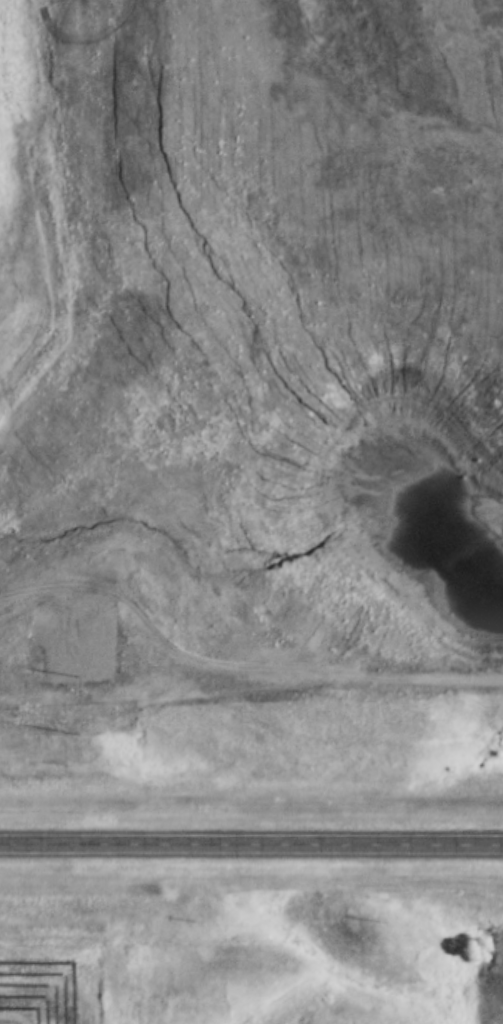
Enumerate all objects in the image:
quarry: (252, 345)
power substation: (80, 646)
road: (251, 845)

